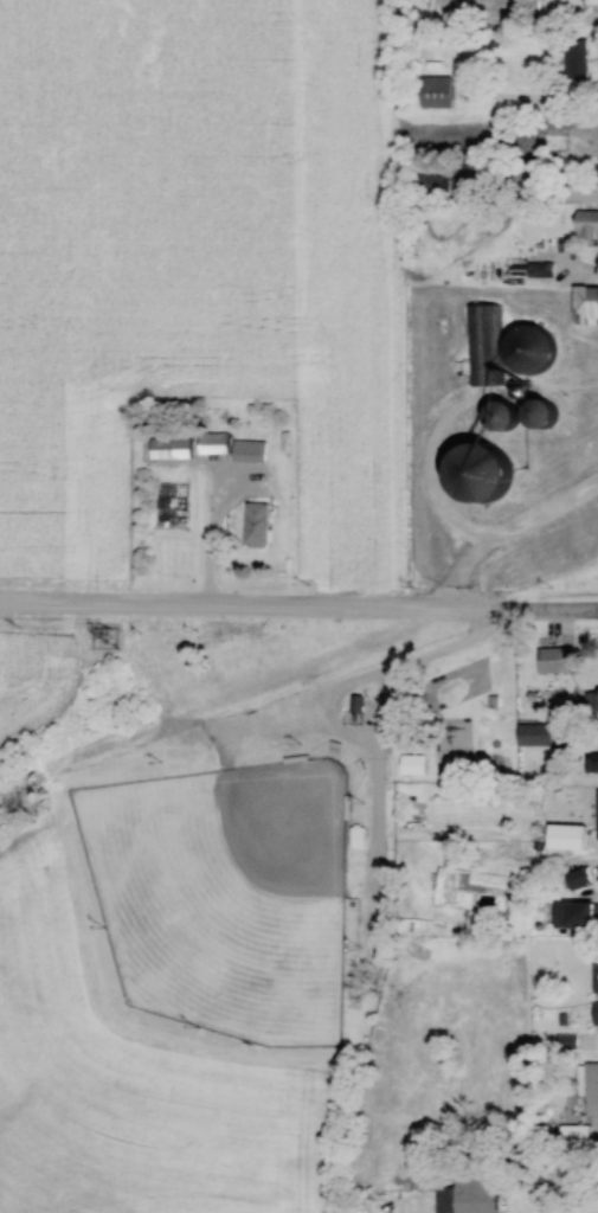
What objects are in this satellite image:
building: (577, 62)
building: (438, 91)
building: (554, 139)
building: (471, 169)
building: (525, 169)
building: (436, 178)
building: (587, 223)
building: (587, 304)
building: (483, 344)
building: (535, 347)
storage tank: (535, 347)
building: (546, 413)
building: (213, 442)
building: (172, 447)
building: (251, 450)
road: (437, 470)
building: (491, 471)
storage tank: (491, 471)
building: (258, 525)
road: (219, 528)
road: (463, 567)
road: (193, 610)
road: (491, 612)
building: (557, 660)
crop: (32, 681)
building: (592, 701)
park: (456, 720)
building: (536, 736)
building: (596, 763)
building: (597, 811)
building: (564, 834)
building: (359, 837)
building: (583, 879)
park: (225, 896)
building: (577, 916)
building: (596, 978)
building: (596, 1014)
building: (590, 1087)
building: (469, 1196)

